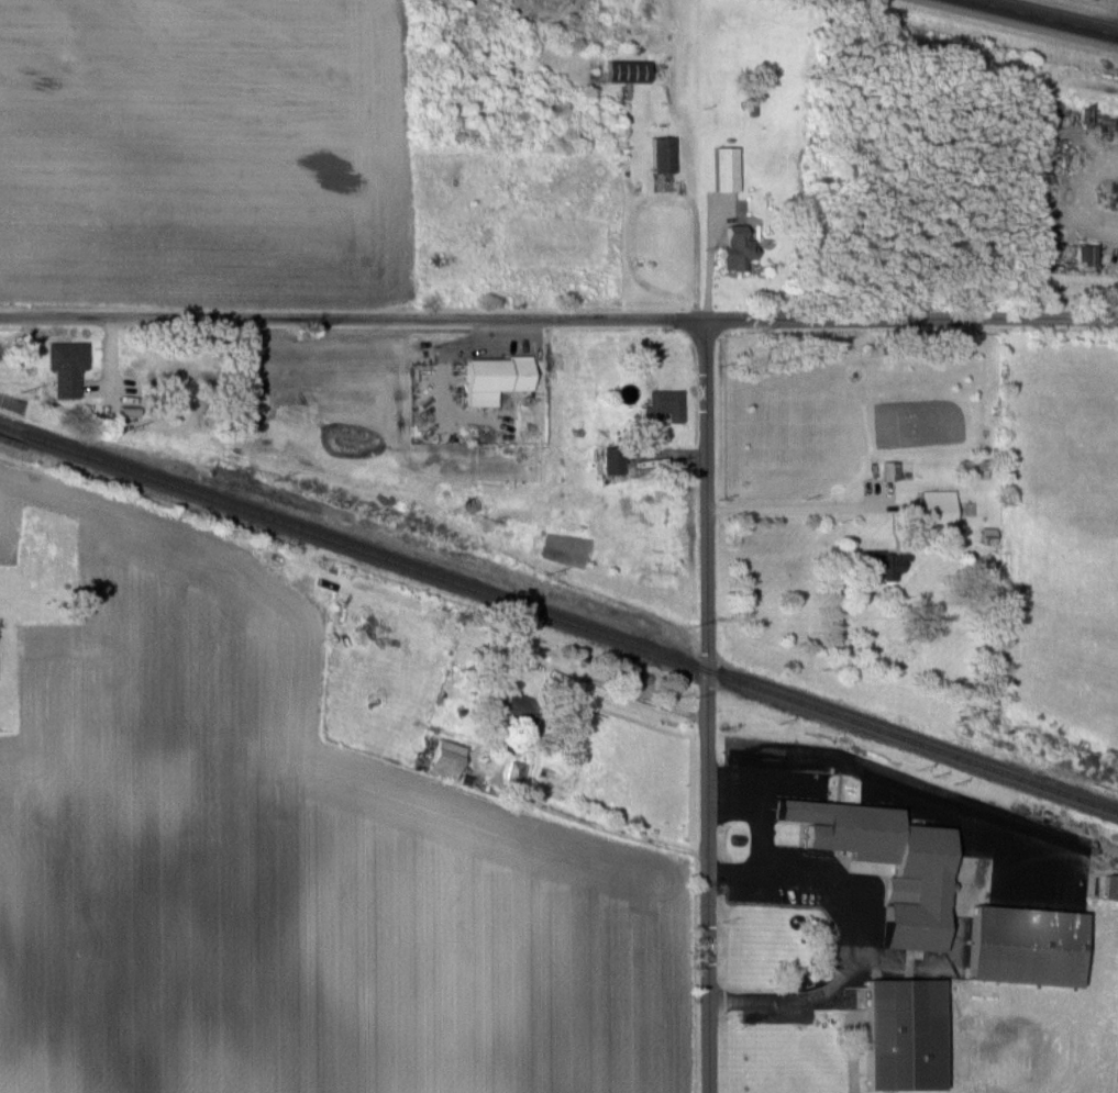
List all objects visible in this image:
road: (1042, 19)
building: (631, 69)
building: (665, 154)
building: (729, 168)
building: (741, 246)
road: (710, 261)
road: (558, 320)
building: (68, 367)
building: (498, 377)
building: (667, 404)
building: (615, 459)
building: (893, 469)
building: (941, 506)
road: (792, 510)
building: (886, 562)
railway: (560, 620)
road: (707, 706)
road: (534, 755)
building: (450, 757)
building: (518, 771)
road: (759, 782)
building: (893, 861)
building: (1111, 886)
road: (856, 935)
building: (1030, 945)
building: (909, 1034)

